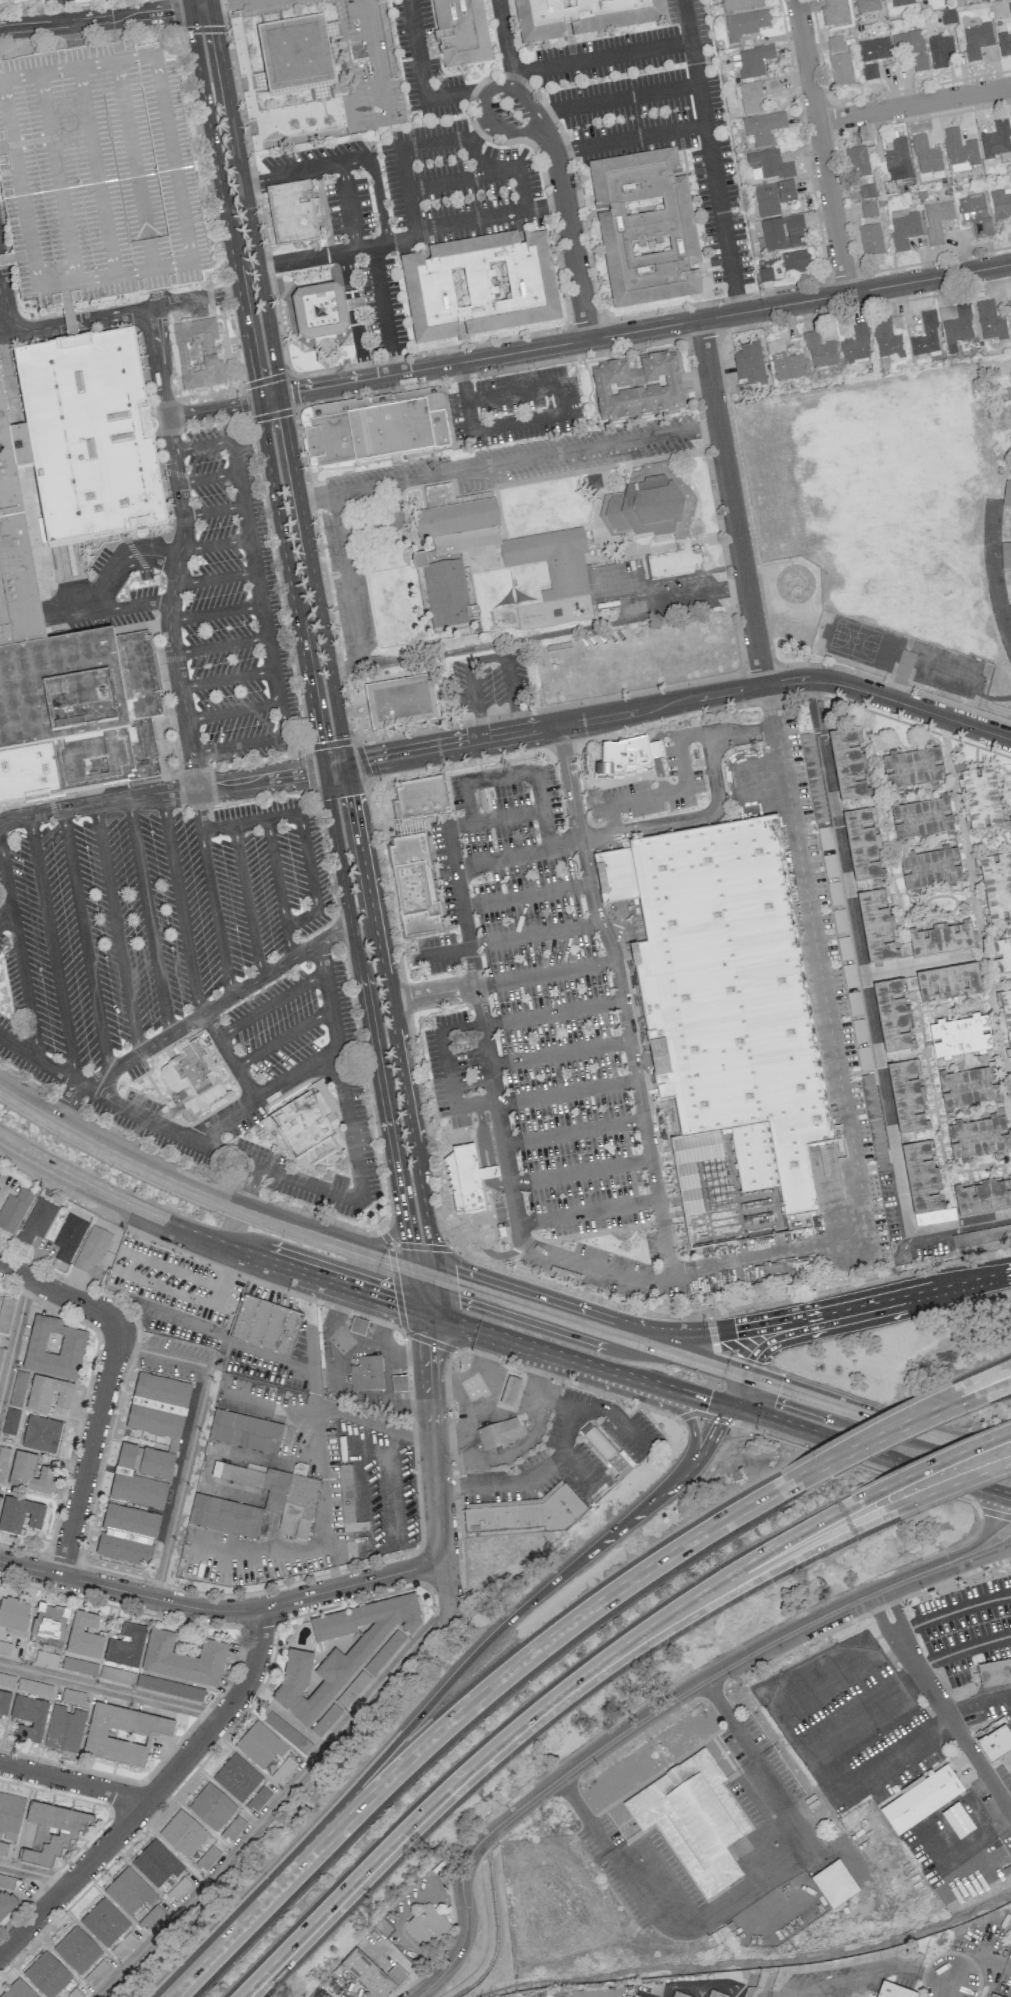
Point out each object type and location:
parking lot: (58, 2)
road: (224, 2)
building: (901, 3)
building: (740, 5)
building: (867, 6)
road: (200, 7)
building: (1009, 8)
traffic signals: (171, 11)
building: (833, 13)
building: (582, 17)
road: (93, 18)
building: (745, 24)
traffic signals: (217, 33)
building: (461, 33)
road: (72, 34)
building: (976, 40)
road: (504, 41)
building: (907, 43)
building: (1004, 43)
building: (834, 44)
building: (874, 48)
building: (940, 50)
road: (609, 55)
building: (297, 56)
road: (370, 57)
building: (753, 60)
parking lot: (423, 63)
building: (919, 63)
building: (840, 70)
building: (869, 71)
road: (513, 75)
road: (422, 76)
road: (500, 84)
building: (756, 94)
road: (614, 98)
road: (916, 105)
parking lot: (509, 109)
parking lot: (654, 116)
road: (123, 118)
building: (763, 127)
road: (477, 132)
road: (629, 137)
building: (996, 140)
road: (825, 145)
road: (6, 148)
building: (960, 151)
road: (710, 156)
building: (926, 156)
building: (898, 160)
road: (352, 161)
building: (857, 161)
building: (767, 165)
road: (482, 166)
road: (95, 171)
road: (291, 172)
building: (97, 175)
parking lot: (97, 175)
road: (57, 177)
road: (447, 181)
parking lot: (333, 182)
road: (254, 186)
building: (867, 191)
building: (773, 197)
road: (221, 199)
road: (379, 200)
building: (1001, 203)
road: (544, 205)
road: (348, 206)
road: (140, 208)
parking lot: (440, 209)
building: (868, 209)
building: (292, 213)
building: (975, 214)
building: (1010, 217)
building: (936, 220)
road: (568, 228)
building: (645, 229)
building: (904, 229)
building: (783, 232)
building: (870, 240)
road: (394, 241)
road: (316, 255)
road: (22, 257)
road: (6, 260)
building: (796, 262)
road: (151, 265)
road: (346, 275)
building: (764, 275)
road: (37, 287)
building: (480, 287)
road: (156, 298)
road: (180, 300)
road: (383, 309)
road: (353, 312)
building: (319, 313)
building: (1010, 319)
building: (990, 321)
road: (57, 324)
building: (955, 326)
road: (646, 329)
building: (925, 335)
building: (886, 340)
road: (154, 343)
building: (856, 344)
building: (200, 348)
building: (819, 351)
road: (361, 352)
building: (785, 362)
building: (749, 364)
traffic signals: (253, 378)
road: (279, 382)
road: (241, 385)
building: (637, 388)
traffic signals: (297, 391)
road: (269, 397)
road: (211, 408)
road: (541, 415)
traffic signals: (284, 416)
building: (373, 428)
building: (1010, 436)
building: (89, 438)
building: (1010, 439)
road: (217, 442)
road: (508, 460)
road: (207, 477)
road: (240, 488)
building: (1007, 494)
building: (440, 495)
road: (730, 502)
building: (646, 508)
road: (213, 511)
road: (182, 516)
road: (246, 521)
road: (386, 525)
building: (459, 526)
road: (214, 544)
building: (15, 546)
road: (252, 555)
building: (1005, 555)
road: (122, 560)
building: (675, 561)
building: (555, 568)
road: (322, 573)
road: (214, 578)
road: (346, 578)
park: (793, 582)
road: (289, 584)
road: (258, 588)
building: (447, 590)
road: (677, 596)
parking lot: (235, 602)
road: (136, 605)
building: (1010, 610)
road: (215, 613)
park: (783, 615)
road: (265, 621)
park: (853, 638)
road: (220, 645)
road: (472, 648)
road: (485, 650)
road: (271, 653)
road: (486, 655)
parking lot: (946, 670)
road: (227, 678)
parking lot: (491, 679)
road: (278, 686)
road: (680, 700)
building: (401, 702)
building: (83, 706)
road: (183, 709)
road: (285, 718)
traffic signals: (317, 740)
road: (876, 742)
road: (329, 743)
road: (975, 747)
road: (871, 752)
building: (625, 758)
traffic signals: (366, 761)
building: (847, 761)
building: (910, 766)
road: (333, 767)
building: (27, 772)
traffic signals: (306, 772)
building: (813, 776)
road: (195, 777)
road: (479, 780)
road: (160, 793)
traffic signals: (350, 795)
road: (917, 795)
building: (980, 797)
building: (423, 798)
road: (868, 804)
road: (198, 809)
road: (543, 810)
road: (281, 816)
building: (920, 817)
road: (495, 818)
road: (249, 822)
road: (889, 823)
road: (648, 826)
road: (216, 828)
road: (986, 832)
road: (1007, 844)
building: (861, 846)
road: (996, 849)
building: (928, 867)
road: (889, 870)
road: (276, 873)
road: (309, 876)
road: (895, 876)
road: (383, 880)
road: (7, 883)
building: (995, 884)
building: (417, 885)
road: (525, 896)
road: (247, 902)
road: (179, 905)
road: (214, 914)
road: (148, 916)
road: (977, 917)
building: (876, 924)
road: (995, 927)
road: (116, 928)
road: (534, 935)
building: (940, 938)
road: (85, 940)
road: (289, 944)
road: (52, 949)
road: (979, 954)
building: (1000, 954)
road: (860, 956)
road: (918, 964)
road: (509, 980)
building: (947, 981)
road: (24, 982)
parking lot: (187, 982)
road: (403, 995)
road: (621, 999)
road: (387, 1004)
road: (271, 1005)
road: (363, 1005)
road: (953, 1005)
road: (969, 1008)
road: (939, 1013)
building: (892, 1015)
building: (1005, 1015)
road: (195, 1018)
road: (482, 1024)
building: (730, 1024)
road: (475, 1028)
building: (958, 1035)
road: (283, 1036)
parking lot: (542, 1038)
road: (924, 1047)
road: (559, 1053)
road: (835, 1054)
road: (229, 1056)
road: (1008, 1067)
building: (195, 1071)
building: (967, 1085)
road: (265, 1092)
road: (566, 1093)
building: (906, 1093)
building: (873, 1119)
building: (312, 1123)
road: (424, 1132)
road: (573, 1133)
road: (934, 1134)
building: (976, 1135)
road: (978, 1168)
road: (581, 1173)
building: (922, 1174)
road: (292, 1177)
building: (464, 1179)
road: (947, 1183)
road: (247, 1187)
road: (204, 1195)
building: (982, 1195)
building: (14, 1209)
road: (587, 1210)
building: (37, 1220)
road: (960, 1224)
building: (68, 1237)
road: (206, 1237)
traffic signals: (405, 1241)
building: (92, 1248)
road: (413, 1256)
road: (426, 1258)
road: (585, 1263)
road: (976, 1280)
traffic signals: (457, 1283)
road: (57, 1292)
road: (423, 1293)
road: (584, 1295)
traffic signals: (395, 1304)
road: (337, 1306)
building: (5, 1313)
road: (568, 1318)
road: (778, 1318)
building: (264, 1322)
road: (383, 1323)
road: (837, 1324)
building: (357, 1326)
traffic signals: (733, 1328)
road: (14, 1337)
road: (350, 1344)
traffic signals: (426, 1344)
building: (0, 1348)
building: (53, 1348)
road: (400, 1357)
traffic signals: (754, 1360)
road: (575, 1361)
building: (367, 1374)
road: (473, 1375)
road: (510, 1375)
road: (985, 1377)
building: (398, 1384)
traffic signals: (779, 1386)
road: (737, 1390)
building: (509, 1391)
road: (990, 1392)
building: (48, 1394)
traffic signals: (708, 1400)
road: (644, 1401)
building: (158, 1406)
road: (862, 1413)
building: (10, 1421)
road: (314, 1421)
road: (467, 1426)
building: (246, 1430)
road: (874, 1432)
building: (498, 1433)
building: (41, 1434)
road: (193, 1436)
road: (432, 1436)
road: (529, 1438)
road: (880, 1440)
building: (596, 1441)
road: (89, 1447)
road: (870, 1450)
road: (934, 1459)
road: (865, 1465)
building: (23, 1471)
building: (127, 1477)
road: (497, 1484)
road: (939, 1488)
building: (278, 1492)
building: (347, 1500)
building: (525, 1510)
building: (223, 1514)
building: (20, 1515)
road: (994, 1525)
building: (127, 1535)
road: (997, 1545)
road: (445, 1588)
road: (691, 1590)
road: (698, 1603)
road: (896, 1608)
road: (952, 1609)
road: (221, 1610)
road: (872, 1610)
building: (13, 1614)
road: (879, 1616)
building: (49, 1621)
building: (84, 1636)
building: (125, 1646)
building: (339, 1652)
building: (383, 1652)
road: (963, 1653)
road: (472, 1658)
building: (183, 1659)
building: (78, 1666)
building: (994, 1670)
building: (117, 1675)
road: (921, 1675)
building: (169, 1687)
road: (797, 1687)
building: (352, 1689)
road: (110, 1690)
building: (4, 1702)
road: (978, 1703)
road: (460, 1711)
road: (729, 1717)
building: (28, 1718)
road: (642, 1718)
building: (326, 1719)
building: (64, 1729)
building: (122, 1734)
building: (992, 1738)
building: (260, 1745)
building: (1007, 1758)
road: (979, 1763)
road: (828, 1771)
building: (236, 1777)
road: (74, 1782)
road: (153, 1794)
building: (920, 1797)
building: (258, 1798)
road: (274, 1804)
building: (211, 1807)
road: (585, 1813)
building: (10, 1815)
building: (692, 1816)
building: (233, 1828)
building: (52, 1832)
building: (182, 1833)
road: (386, 1848)
building: (3, 1849)
building: (207, 1858)
building: (156, 1863)
road: (35, 1871)
building: (7, 1881)
building: (834, 1883)
building: (129, 1891)
road: (741, 1891)
building: (6, 1904)
road: (402, 1919)
building: (104, 1922)
building: (426, 1926)
building: (76, 1950)
building: (370, 1973)
building: (46, 1974)
road: (853, 1980)
road: (948, 1989)
building: (17, 1990)
building: (892, 1990)
building: (715, 1992)
building: (679, 1993)
building: (641, 1994)
building: (325, 1996)
building: (992, 1996)

